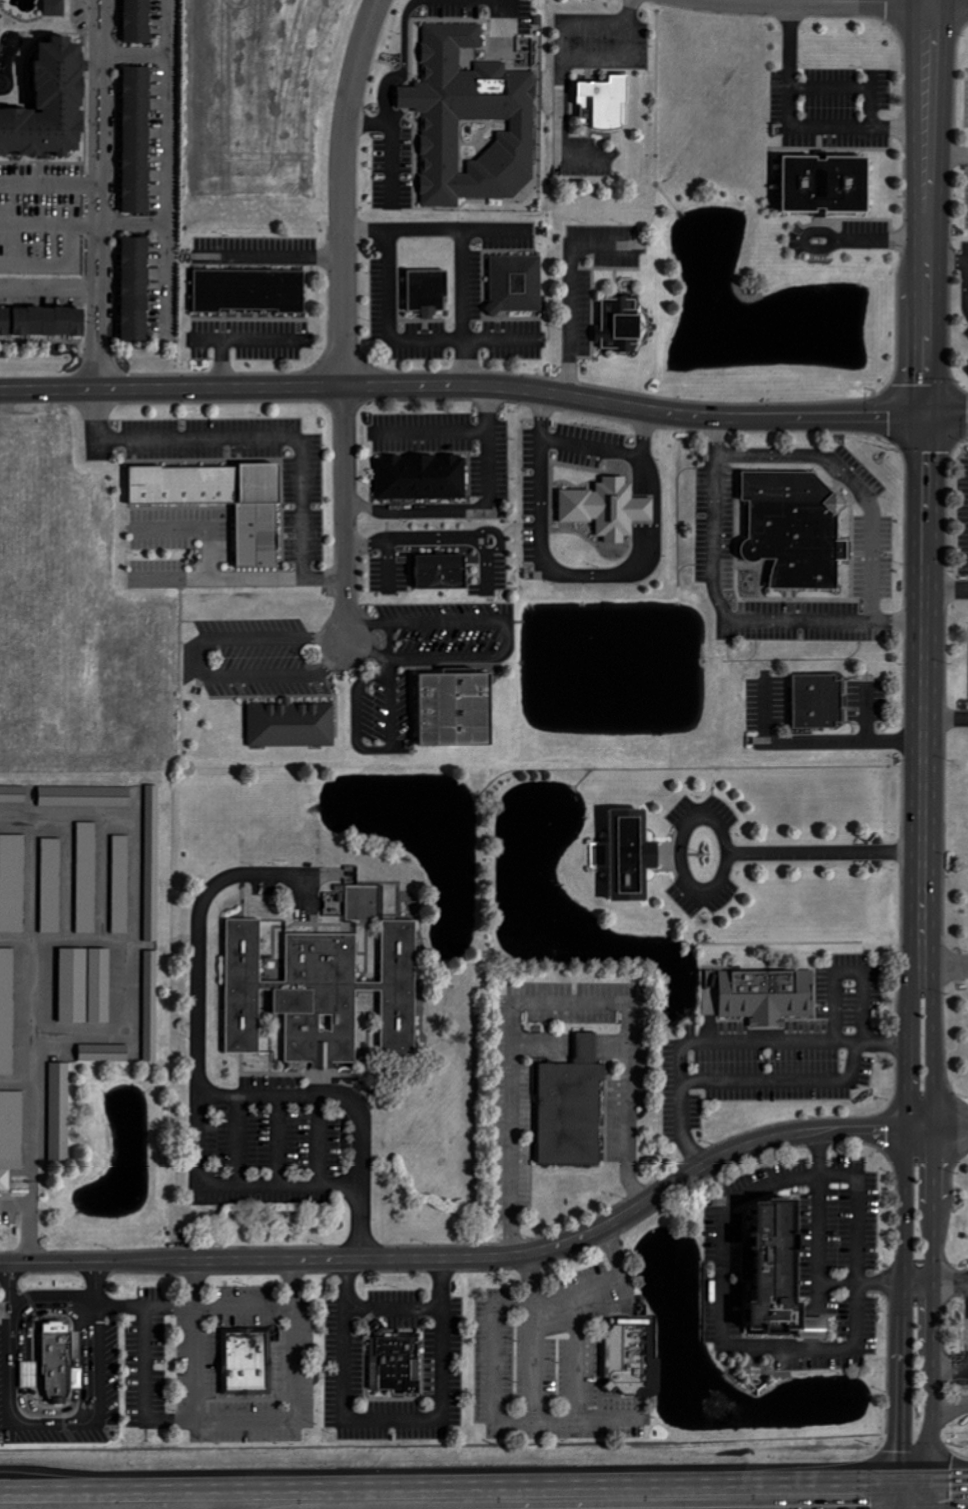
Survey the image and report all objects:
road: (776, 1)
road: (931, 1)
road: (932, 1)
road: (851, 3)
building: (55, 8)
road: (620, 12)
building: (139, 21)
road: (407, 36)
road: (552, 63)
building: (606, 102)
building: (45, 104)
building: (472, 121)
road: (369, 123)
road: (800, 124)
road: (391, 137)
building: (137, 140)
road: (949, 153)
building: (828, 184)
road: (98, 195)
road: (930, 210)
road: (438, 229)
road: (881, 237)
road: (967, 274)
building: (517, 283)
building: (136, 289)
road: (572, 289)
road: (48, 291)
building: (250, 291)
building: (429, 291)
road: (466, 308)
road: (345, 317)
building: (5, 321)
building: (50, 322)
building: (621, 324)
road: (414, 339)
road: (465, 387)
road: (489, 414)
traffic signals: (928, 417)
road: (948, 417)
road: (262, 443)
road: (592, 446)
road: (646, 476)
building: (422, 477)
road: (850, 488)
road: (486, 491)
building: (223, 502)
road: (544, 504)
building: (608, 509)
road: (648, 509)
building: (797, 528)
road: (388, 546)
building: (441, 571)
road: (622, 574)
road: (946, 601)
road: (723, 618)
road: (496, 626)
road: (367, 654)
road: (924, 668)
building: (819, 702)
building: (457, 709)
road: (946, 716)
building: (292, 725)
road: (842, 747)
building: (83, 796)
road: (728, 857)
building: (153, 863)
building: (88, 878)
building: (13, 883)
building: (122, 884)
building: (52, 885)
road: (951, 977)
building: (86, 986)
building: (315, 991)
building: (768, 996)
building: (152, 1006)
building: (8, 1011)
road: (130, 1019)
road: (804, 1047)
road: (853, 1048)
building: (104, 1053)
road: (623, 1055)
road: (781, 1082)
road: (214, 1095)
building: (572, 1108)
building: (60, 1112)
road: (509, 1129)
road: (937, 1135)
building: (11, 1136)
road: (822, 1159)
road: (906, 1163)
road: (236, 1192)
road: (935, 1214)
road: (728, 1239)
road: (466, 1259)
road: (821, 1267)
road: (289, 1284)
building: (785, 1285)
road: (576, 1287)
road: (951, 1288)
road: (841, 1291)
road: (56, 1305)
road: (192, 1340)
building: (630, 1357)
building: (244, 1361)
building: (394, 1361)
building: (54, 1364)
building: (30, 1374)
road: (950, 1375)
road: (292, 1394)
road: (950, 1405)
road: (53, 1422)
traffic signals: (898, 1451)
road: (898, 1458)
road: (949, 1476)
traffic signals: (954, 1476)
road: (914, 1478)
road: (449, 1485)

